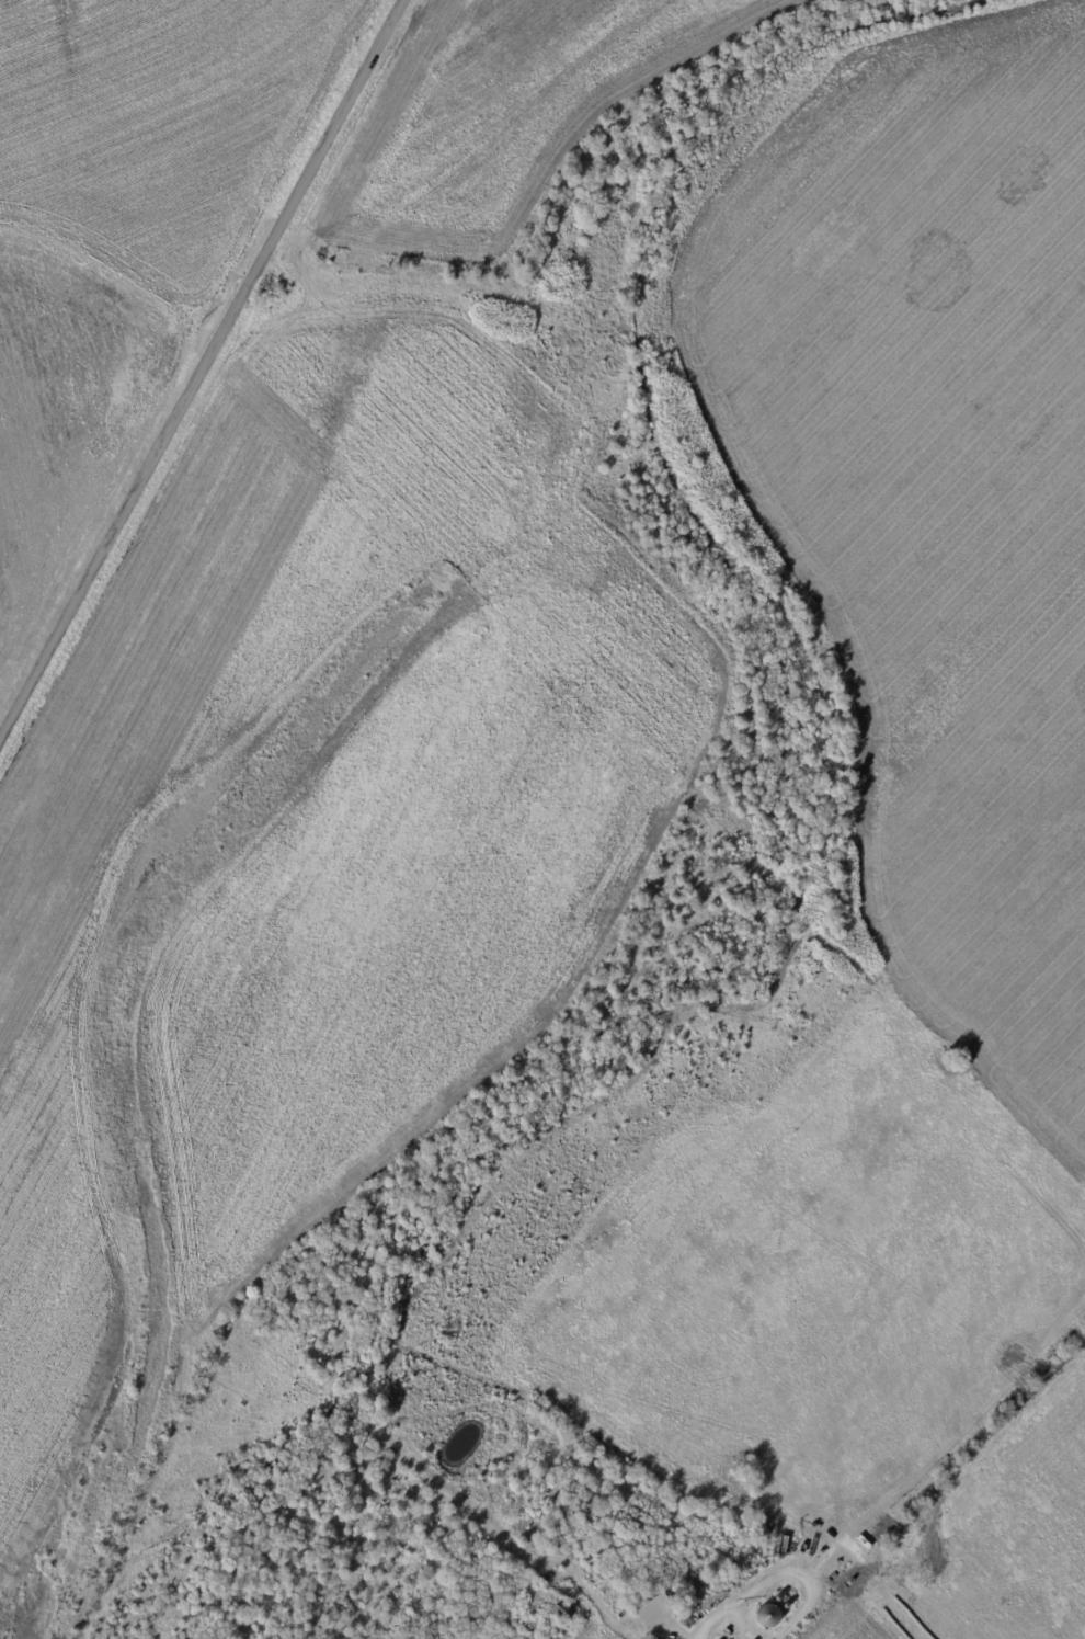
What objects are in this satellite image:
road: (196, 364)
building: (653, 1609)
building: (562, 1612)
building: (631, 1626)
building: (677, 1626)

